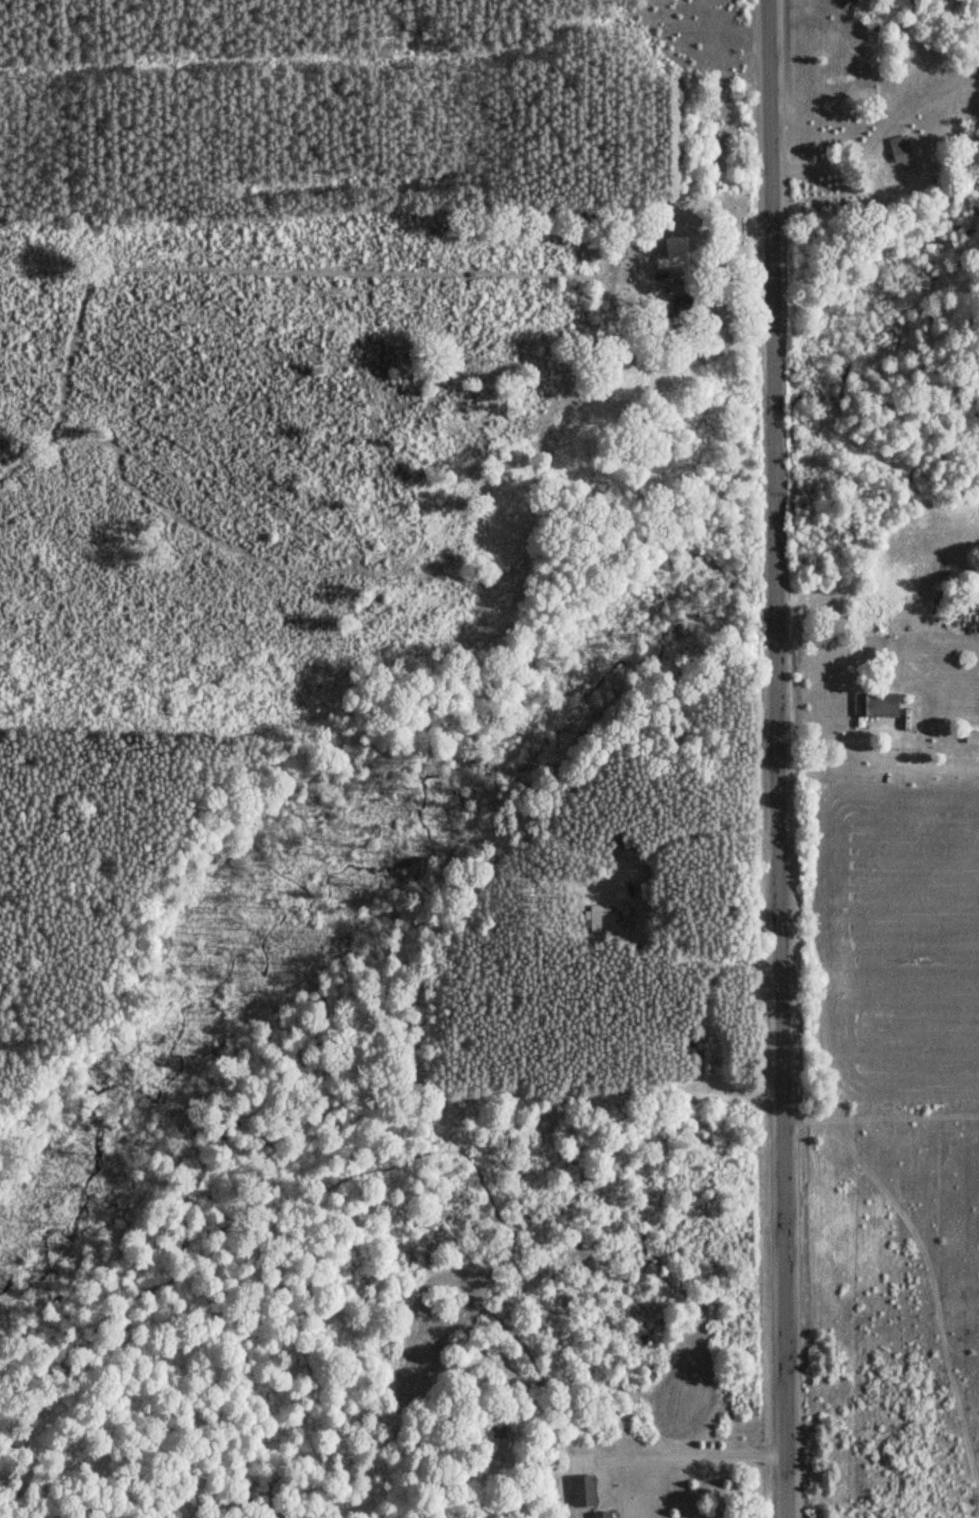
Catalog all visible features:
building: (901, 155)
building: (875, 705)
road: (776, 758)
building: (705, 1057)
road: (688, 1451)
building: (580, 1491)
building: (596, 1515)

